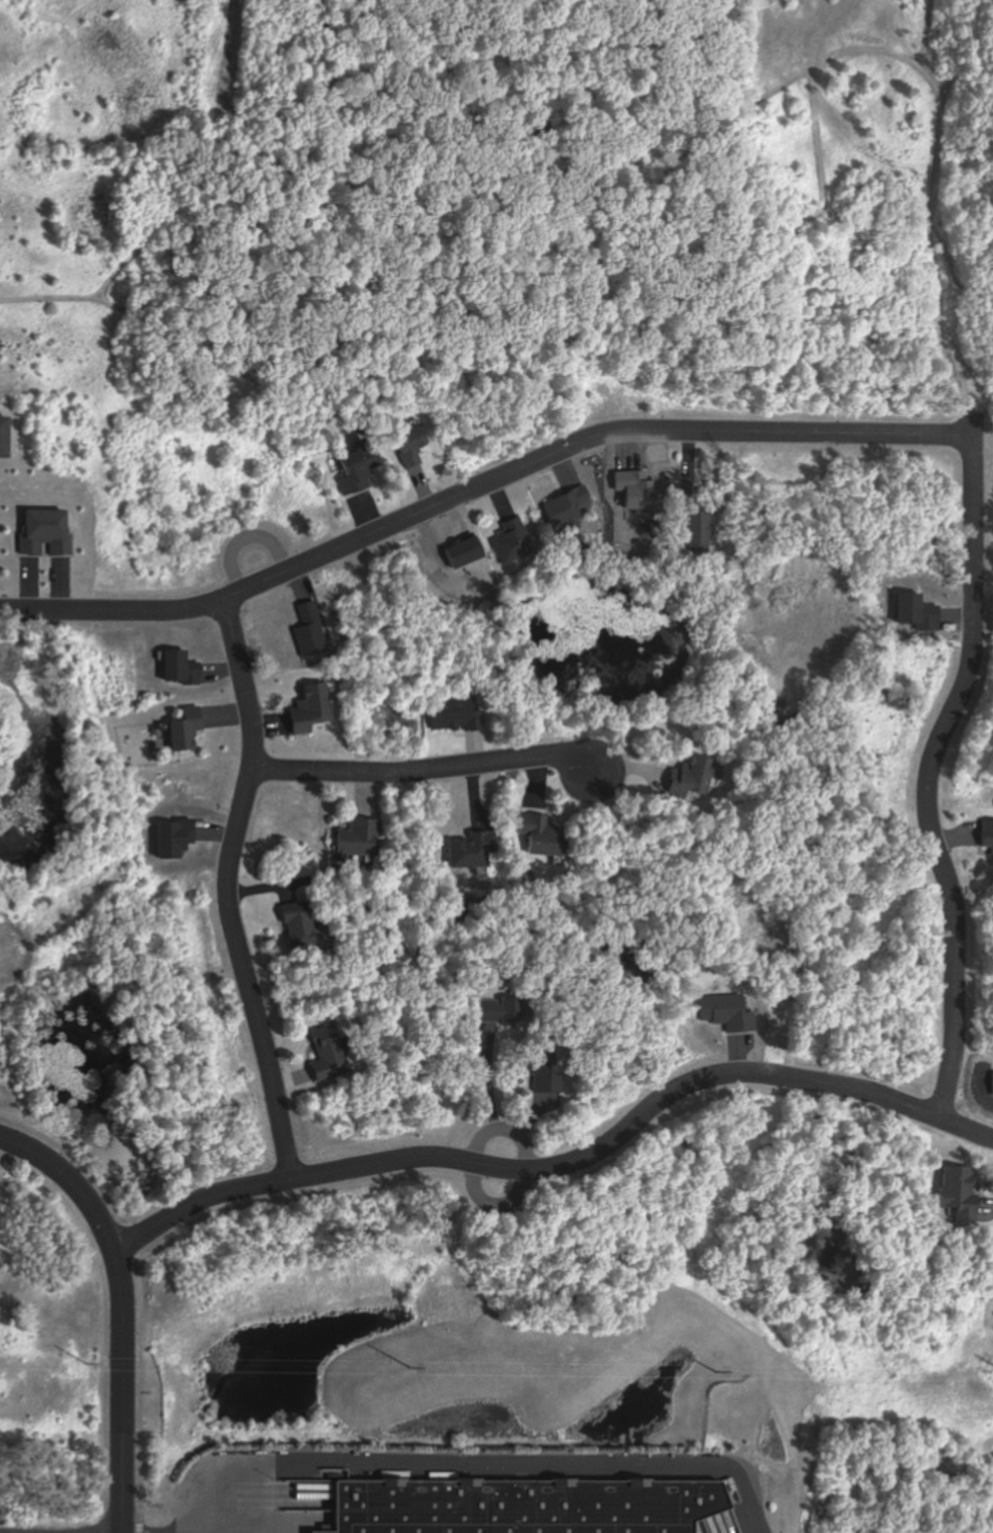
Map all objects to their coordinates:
road: (964, 252)
building: (2, 437)
building: (407, 447)
building: (354, 469)
road: (481, 489)
building: (692, 519)
building: (43, 534)
building: (510, 542)
park: (77, 672)
building: (307, 709)
building: (452, 717)
building: (183, 731)
road: (938, 748)
road: (437, 770)
park: (775, 778)
building: (687, 779)
building: (541, 836)
building: (986, 837)
building: (355, 840)
building: (471, 852)
road: (229, 890)
building: (296, 926)
building: (493, 1012)
building: (327, 1054)
building: (539, 1071)
park: (96, 1075)
road: (568, 1165)
building: (956, 1193)
park: (829, 1197)
road: (122, 1252)
power tower: (87, 1363)
power tower: (411, 1367)
power tower: (717, 1371)
road: (469, 1462)
road: (127, 1483)
building: (521, 1507)

